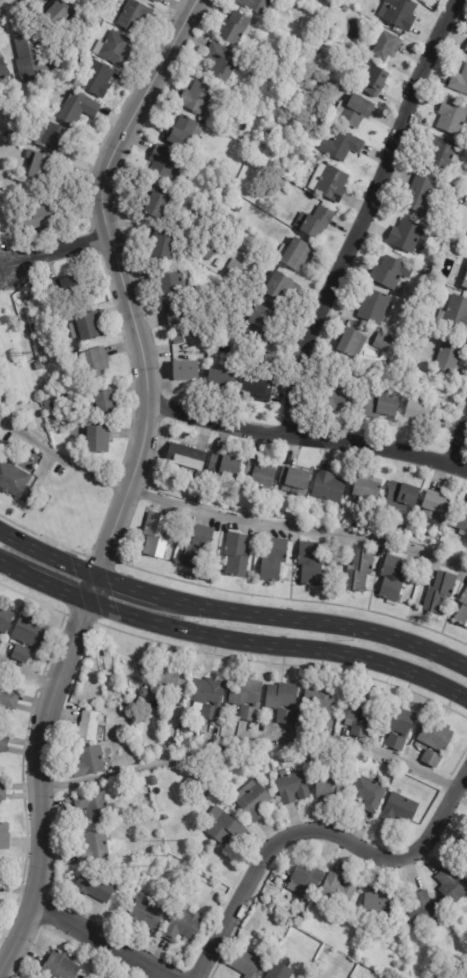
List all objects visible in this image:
building: (156, 1)
building: (256, 5)
building: (345, 8)
building: (1, 12)
building: (58, 13)
building: (399, 14)
building: (135, 16)
building: (0, 21)
building: (236, 28)
building: (328, 43)
building: (387, 46)
building: (115, 48)
building: (466, 50)
building: (31, 57)
building: (222, 61)
building: (284, 70)
building: (4, 71)
building: (97, 78)
building: (376, 81)
building: (460, 82)
building: (198, 97)
building: (78, 108)
building: (353, 111)
building: (19, 115)
building: (452, 116)
building: (275, 123)
building: (183, 132)
building: (10, 133)
building: (55, 139)
building: (341, 143)
building: (442, 153)
building: (36, 163)
building: (164, 163)
building: (329, 182)
building: (6, 183)
building: (421, 190)
building: (157, 205)
building: (237, 208)
road: (360, 213)
building: (39, 218)
building: (315, 222)
building: (410, 236)
building: (167, 247)
road: (60, 254)
building: (212, 254)
building: (295, 254)
building: (219, 264)
building: (235, 270)
building: (391, 273)
building: (425, 273)
building: (464, 277)
building: (169, 280)
road: (122, 282)
building: (433, 284)
building: (280, 287)
building: (64, 289)
building: (27, 299)
building: (374, 306)
building: (175, 312)
building: (455, 313)
building: (262, 317)
building: (220, 325)
building: (89, 327)
building: (33, 328)
building: (178, 339)
building: (384, 342)
building: (353, 344)
power tower: (26, 352)
building: (448, 356)
building: (391, 362)
building: (96, 363)
building: (39, 367)
building: (186, 371)
building: (223, 380)
building: (44, 389)
building: (259, 390)
building: (3, 393)
building: (65, 398)
building: (337, 399)
building: (106, 401)
building: (49, 402)
building: (381, 405)
building: (50, 412)
building: (67, 412)
building: (419, 413)
road: (308, 438)
road: (458, 439)
building: (98, 441)
building: (186, 459)
building: (225, 465)
building: (260, 475)
building: (295, 482)
building: (17, 484)
building: (329, 487)
building: (368, 493)
building: (402, 497)
building: (45, 499)
building: (435, 509)
road: (225, 516)
building: (462, 521)
building: (156, 536)
building: (198, 548)
road: (47, 552)
building: (237, 555)
building: (274, 561)
building: (310, 564)
road: (10, 571)
building: (360, 571)
building: (392, 579)
road: (126, 585)
road: (90, 588)
road: (54, 589)
building: (440, 593)
building: (463, 612)
building: (5, 617)
road: (315, 622)
building: (30, 631)
road: (278, 644)
building: (21, 653)
road: (28, 673)
building: (171, 677)
building: (144, 692)
building: (7, 697)
building: (208, 697)
building: (247, 697)
building: (283, 701)
building: (320, 705)
building: (122, 709)
building: (360, 714)
building: (89, 725)
building: (397, 726)
building: (435, 741)
road: (252, 742)
building: (4, 743)
building: (265, 757)
building: (89, 761)
building: (213, 777)
building: (154, 781)
building: (330, 785)
building: (292, 786)
road: (42, 788)
building: (3, 791)
building: (369, 793)
building: (253, 800)
building: (95, 805)
building: (400, 808)
building: (166, 817)
building: (224, 826)
road: (316, 828)
building: (4, 836)
building: (94, 846)
building: (464, 846)
power tower: (168, 854)
building: (466, 858)
building: (1, 864)
building: (305, 880)
building: (1, 883)
building: (453, 883)
building: (95, 886)
building: (339, 890)
building: (380, 904)
building: (201, 907)
building: (279, 909)
building: (423, 909)
building: (147, 915)
building: (181, 927)
road: (105, 937)
building: (249, 964)
building: (60, 965)
building: (361, 970)
building: (279, 971)

